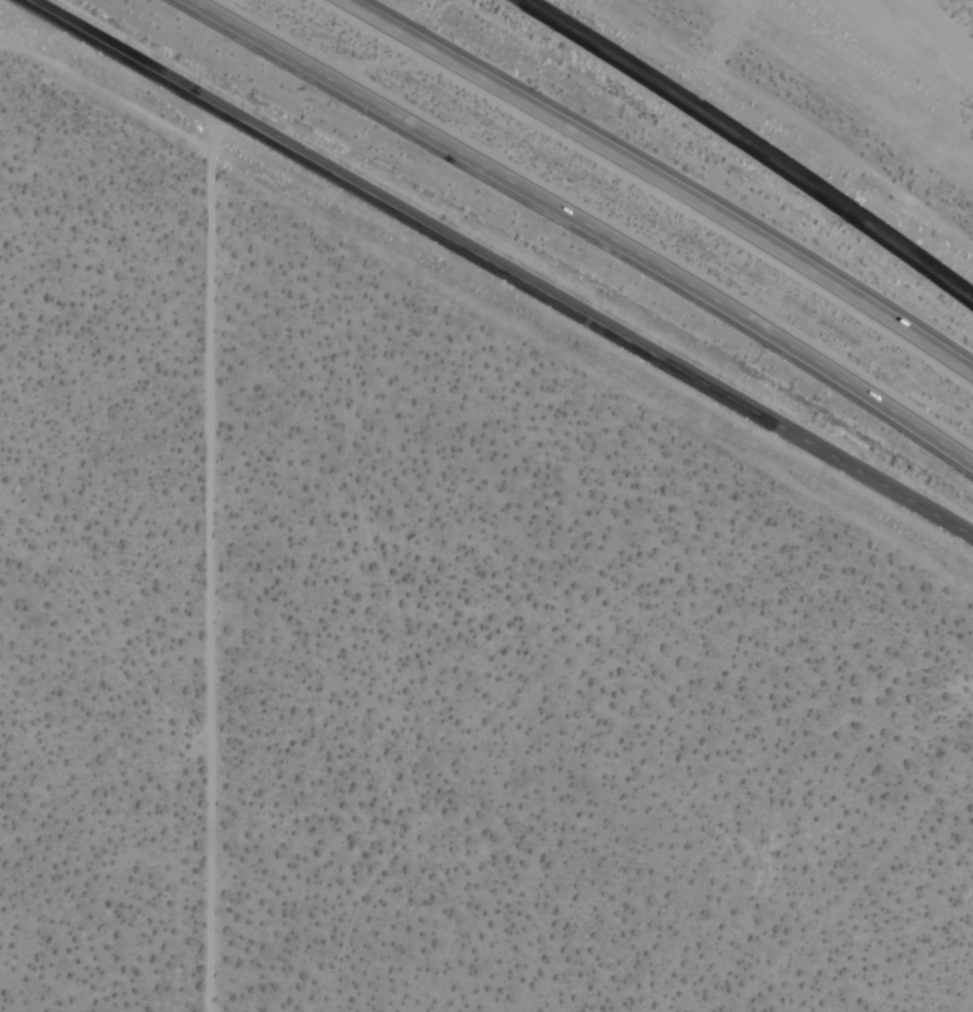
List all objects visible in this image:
crop: (851, 82)
road: (751, 145)
road: (662, 181)
road: (585, 226)
road: (499, 268)
road: (205, 620)

